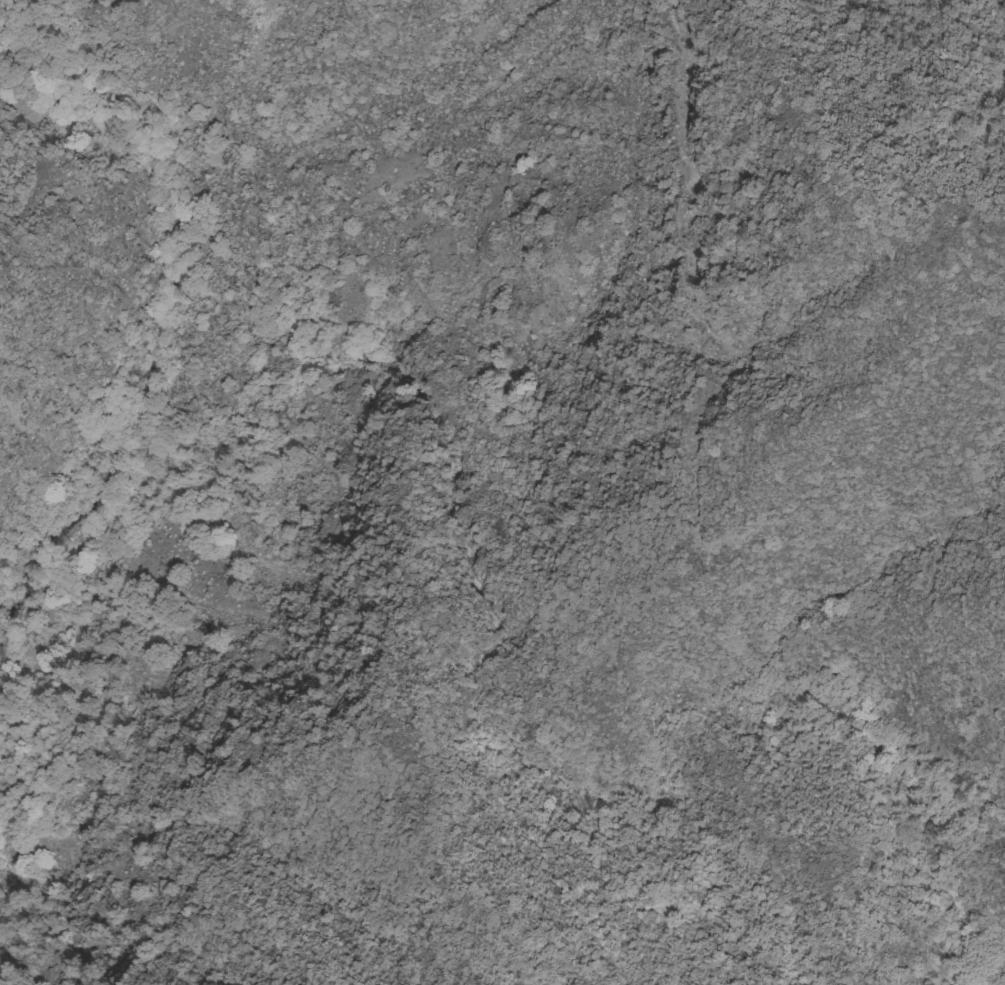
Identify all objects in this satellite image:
road: (693, 476)

